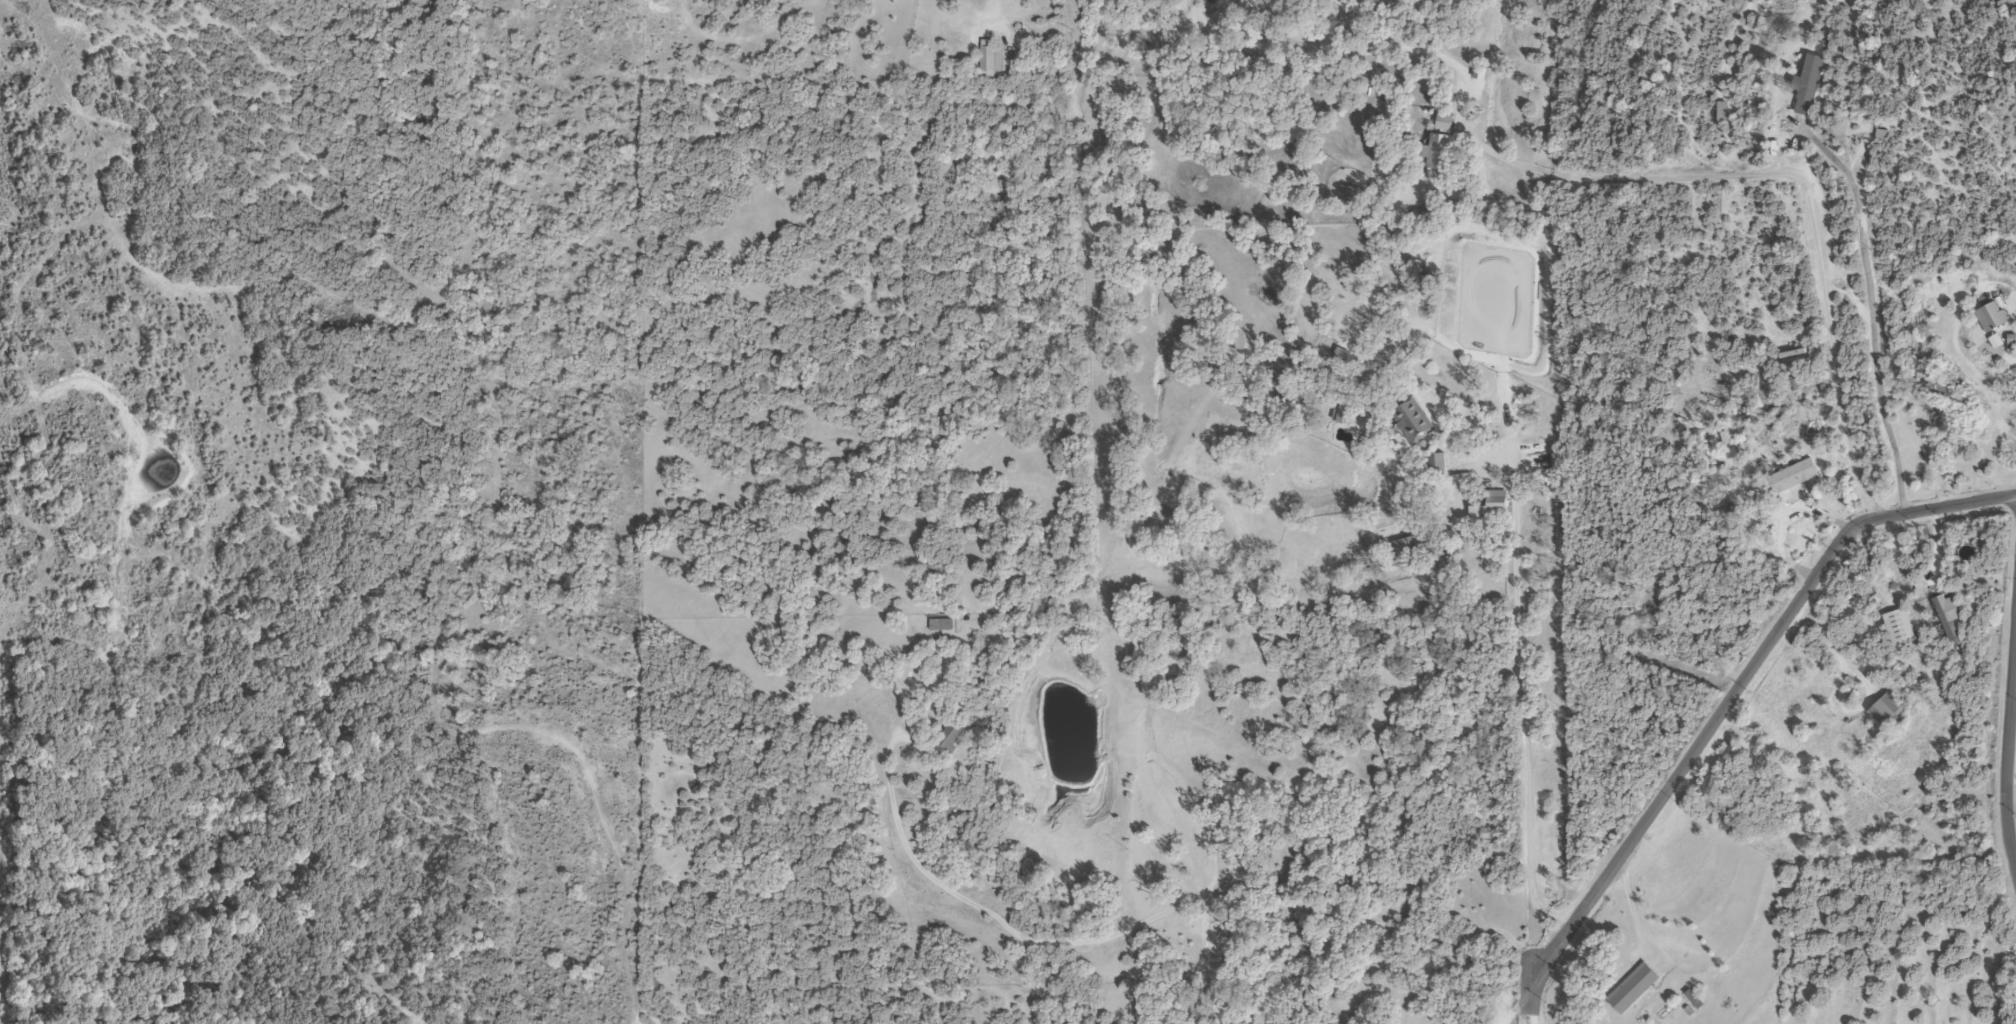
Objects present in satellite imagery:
building: (989, 60)
building: (1806, 87)
building: (1443, 124)
building: (1434, 156)
building: (1348, 196)
road: (1807, 202)
road: (1872, 302)
building: (1342, 413)
building: (1412, 422)
building: (1792, 479)
building: (1493, 506)
road: (1527, 542)
building: (1409, 549)
building: (1946, 619)
building: (938, 627)
building: (1896, 628)
road: (1735, 683)
building: (1886, 713)
building: (946, 739)
road: (2004, 750)
road: (1628, 907)
building: (1630, 990)
road: (1512, 1000)
road: (1532, 1004)

